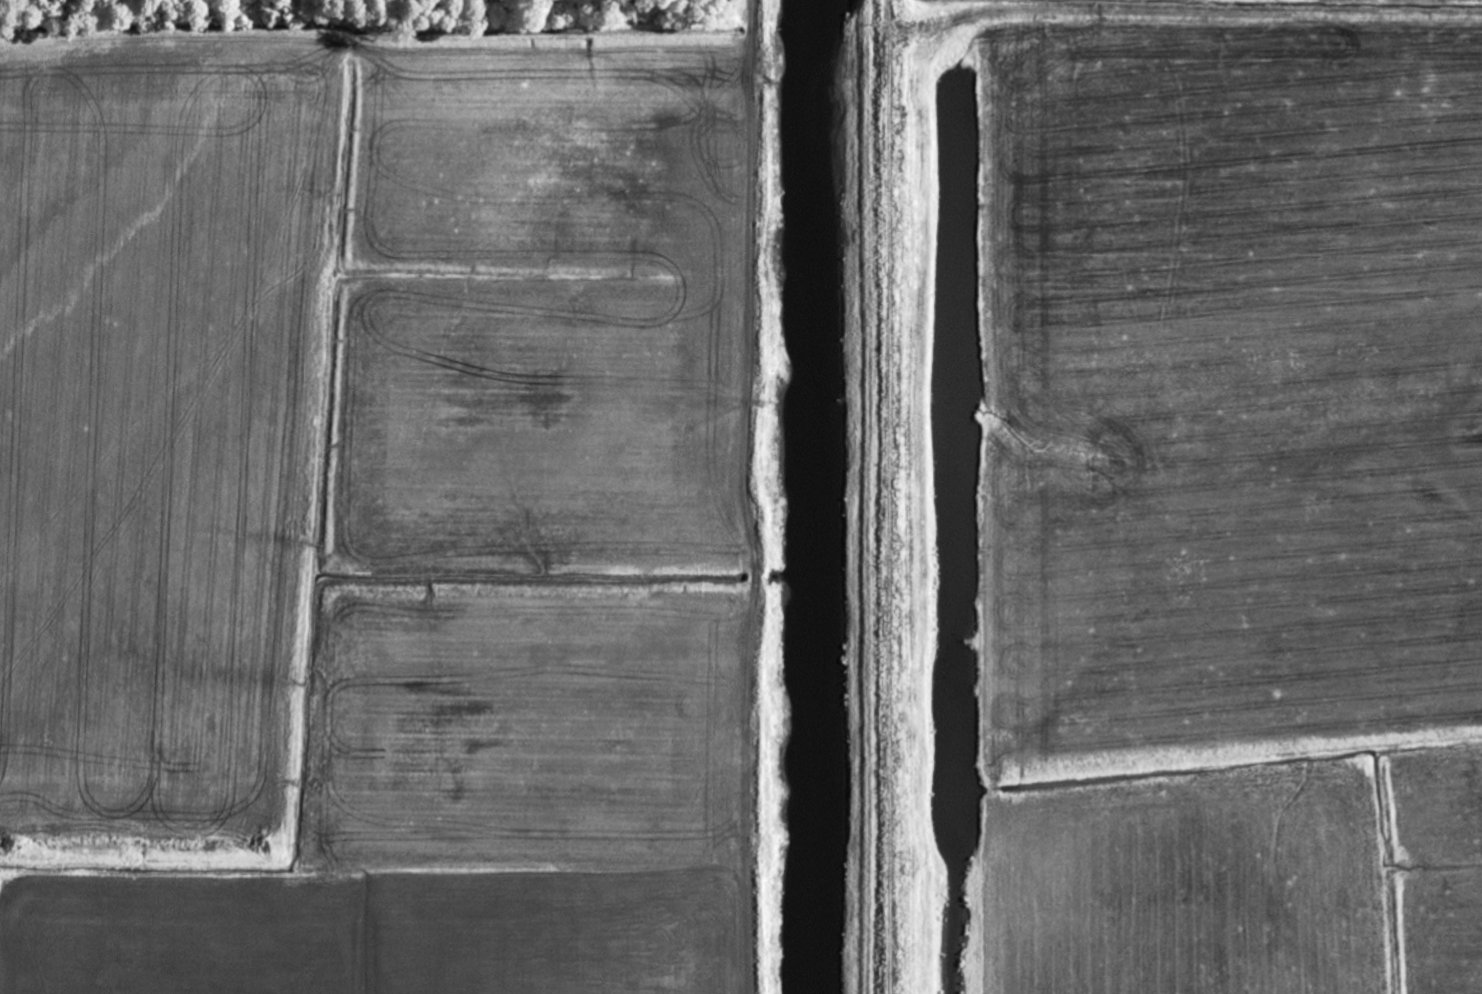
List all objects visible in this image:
road: (1152, 11)
road: (381, 44)
road: (805, 56)
road: (772, 57)
road: (755, 495)
river: (809, 496)

